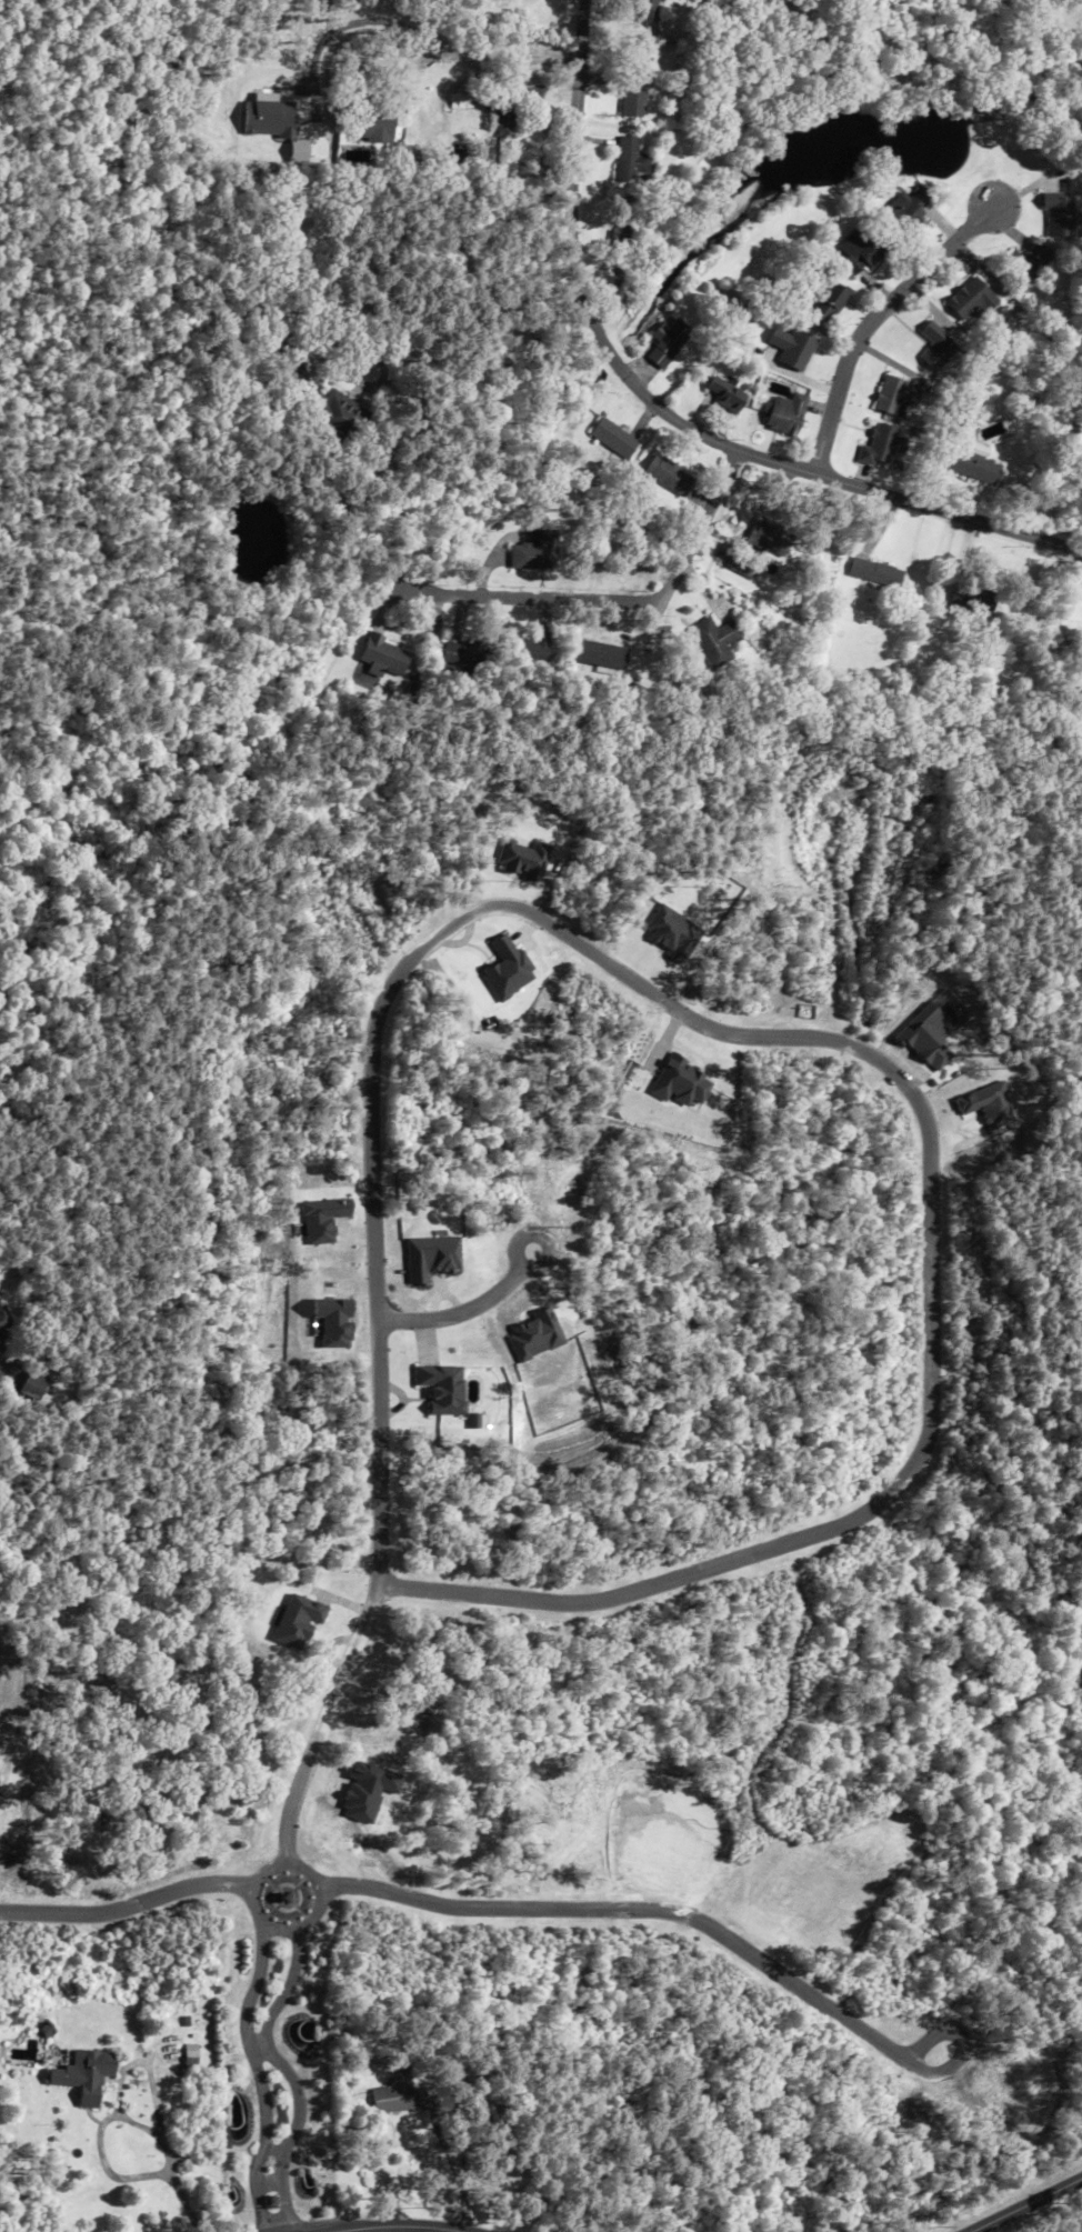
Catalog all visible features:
building: (647, 10)
road: (420, 53)
building: (632, 89)
building: (460, 98)
building: (499, 119)
building: (369, 121)
building: (629, 160)
building: (908, 210)
building: (1058, 214)
building: (619, 222)
building: (860, 250)
building: (1032, 266)
road: (433, 291)
building: (725, 299)
building: (830, 302)
road: (871, 322)
building: (665, 343)
building: (935, 347)
building: (792, 348)
building: (727, 394)
building: (894, 397)
road: (663, 410)
building: (335, 412)
building: (785, 414)
building: (610, 438)
building: (882, 446)
building: (969, 458)
building: (668, 476)
building: (769, 537)
building: (534, 552)
building: (737, 562)
building: (874, 573)
road: (618, 601)
building: (972, 601)
building: (714, 641)
building: (531, 648)
building: (460, 654)
building: (600, 654)
building: (383, 658)
road: (664, 1005)
road: (495, 1289)
building: (1, 1323)
building: (0, 1343)
building: (29, 1385)
road: (258, 1883)
road: (128, 1913)
road: (704, 1925)
building: (192, 2061)
building: (86, 2076)
road: (291, 2076)
road: (262, 2080)
road: (120, 2089)
building: (399, 2098)
road: (141, 2123)
road: (454, 2171)
road: (189, 2203)
road: (1028, 2204)
road: (408, 2228)

